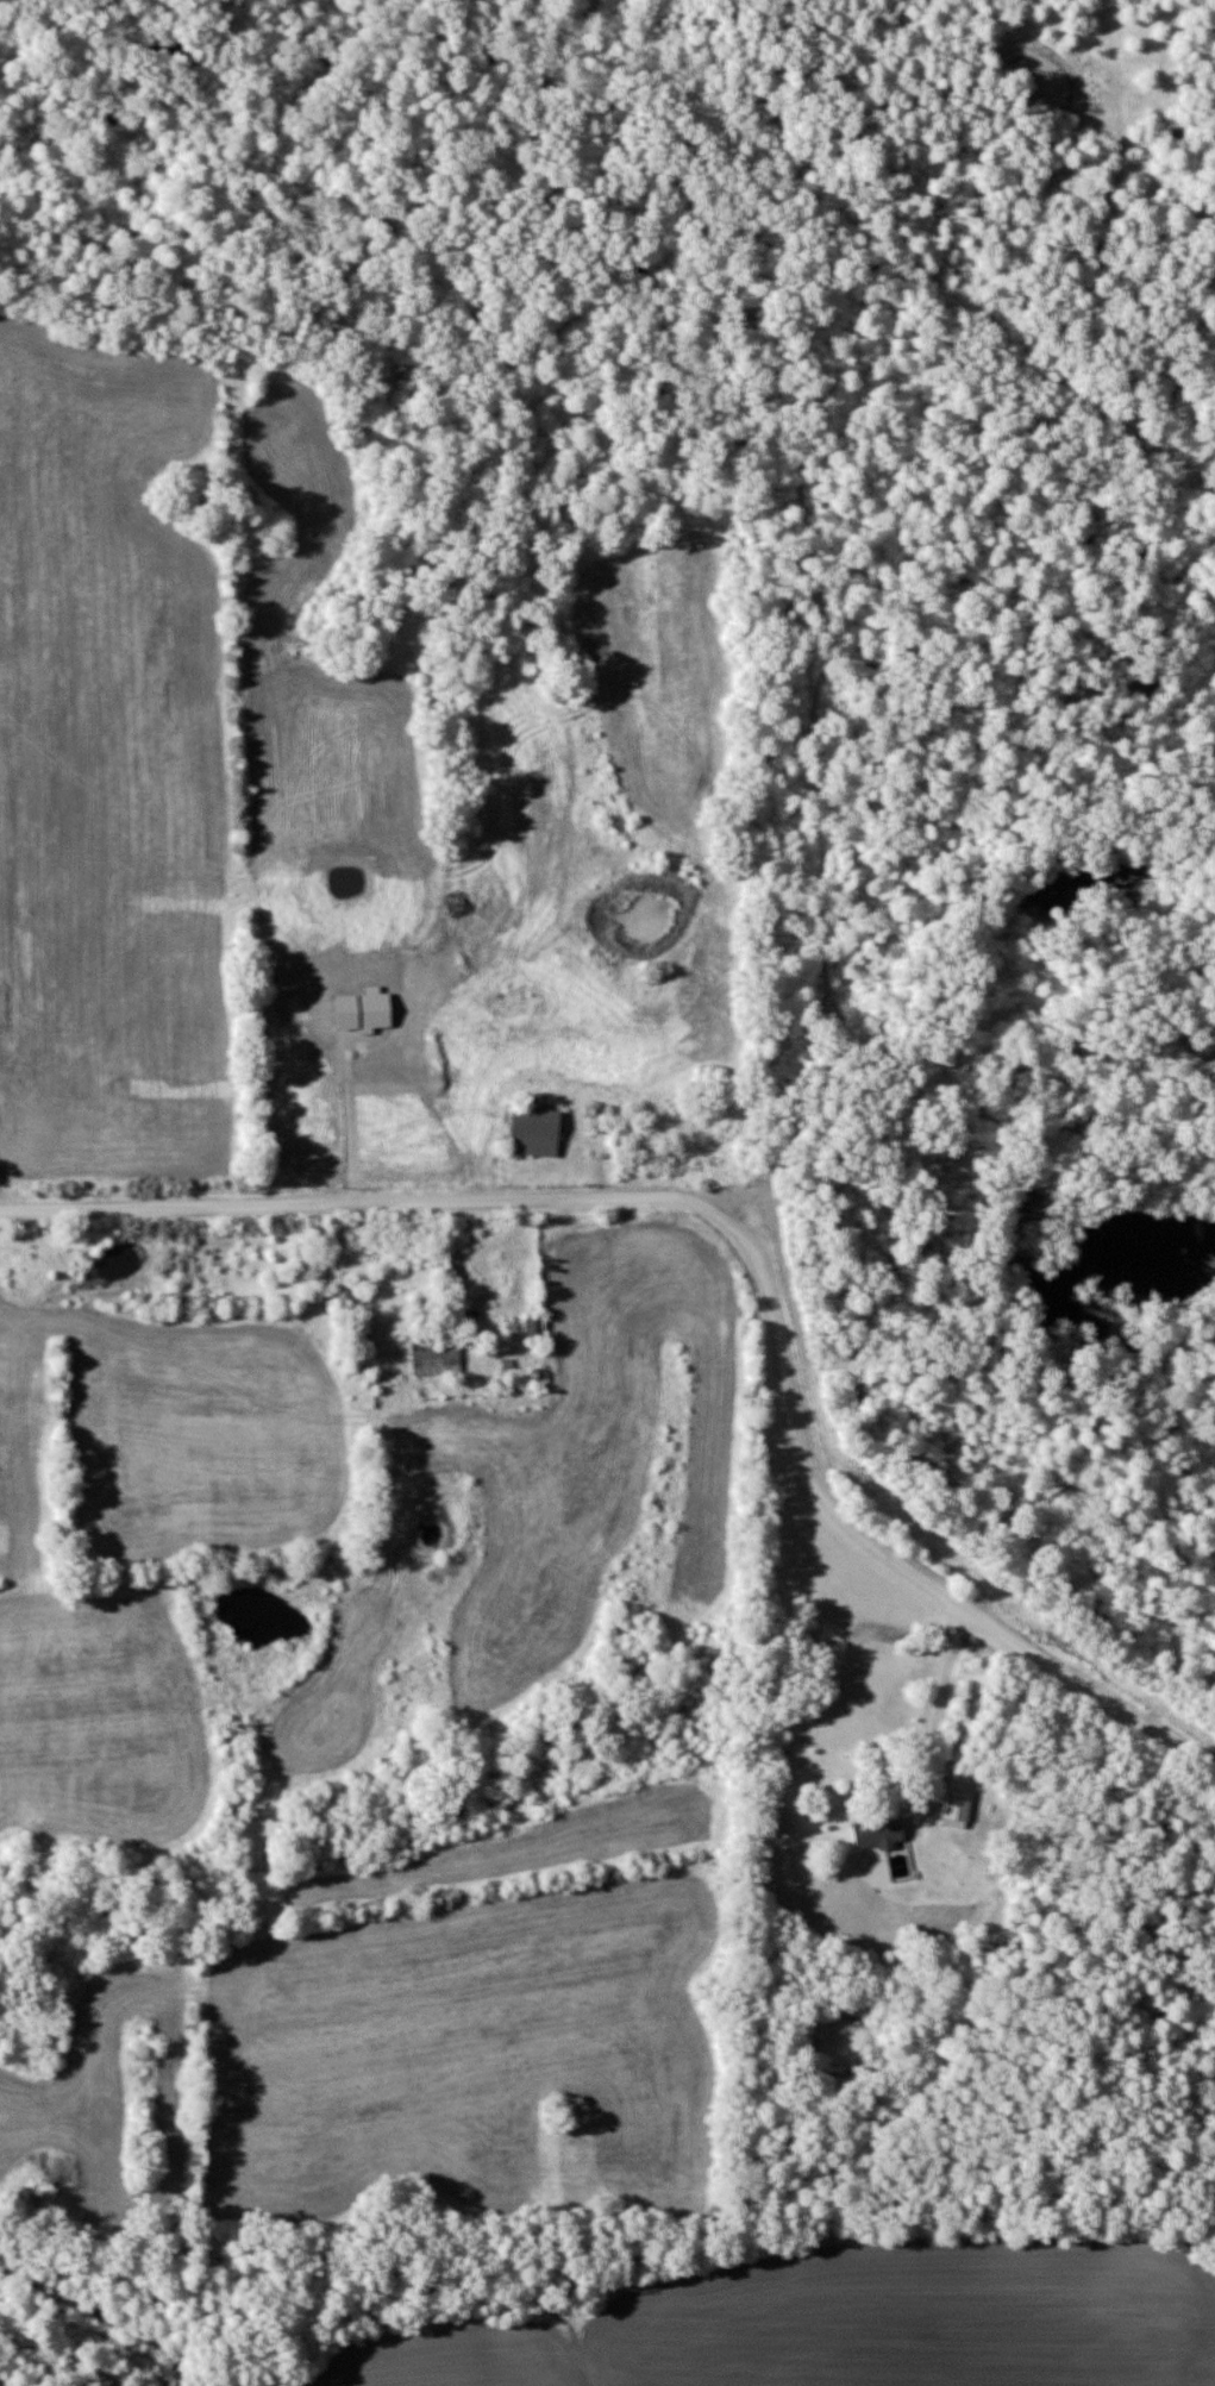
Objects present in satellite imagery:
building: (536, 1133)
road: (738, 1238)
building: (534, 1328)
building: (436, 1354)
road: (933, 1702)
building: (783, 1822)
building: (878, 1833)

